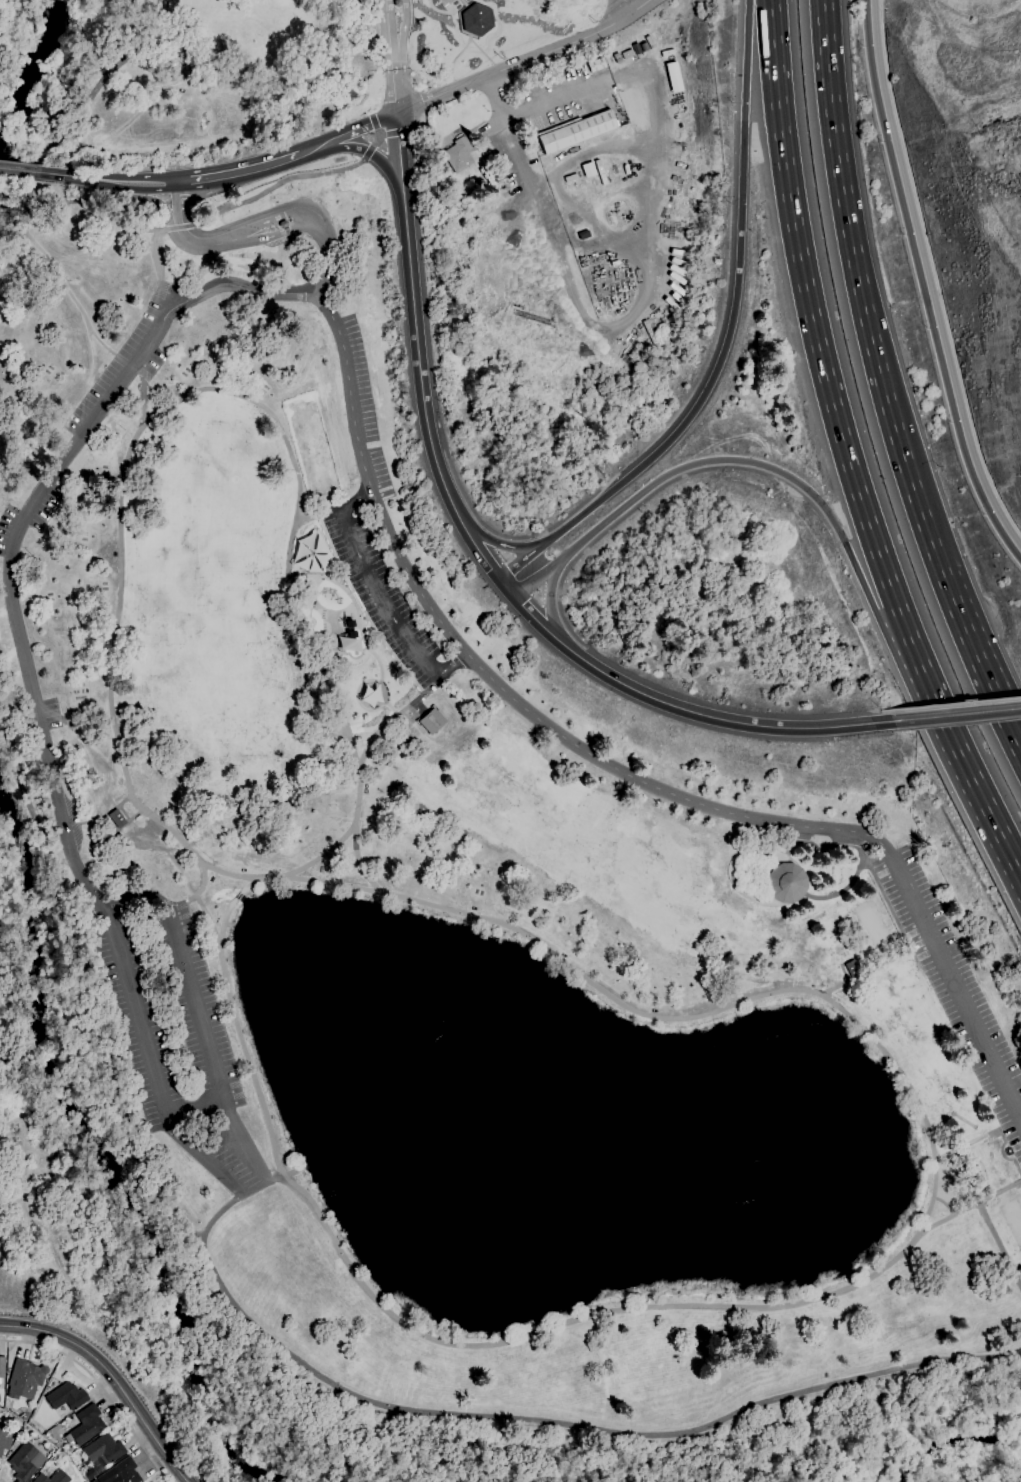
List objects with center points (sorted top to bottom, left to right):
building: (397, 3)
road: (622, 9)
building: (477, 20)
road: (402, 54)
building: (627, 54)
road: (391, 57)
road: (532, 57)
building: (596, 65)
river: (35, 73)
building: (672, 76)
road: (102, 79)
road: (557, 95)
road: (402, 111)
road: (365, 125)
building: (575, 131)
road: (378, 140)
road: (318, 145)
building: (536, 148)
building: (458, 154)
road: (375, 157)
road: (19, 170)
road: (238, 171)
road: (107, 181)
road: (29, 193)
road: (156, 202)
road: (8, 213)
road: (20, 214)
building: (283, 224)
road: (197, 225)
road: (16, 247)
road: (156, 256)
road: (935, 271)
road: (926, 281)
road: (861, 292)
road: (163, 297)
road: (73, 300)
road: (734, 308)
road: (814, 325)
road: (609, 327)
building: (649, 332)
road: (418, 355)
parking lot: (126, 363)
road: (235, 393)
parking lot: (368, 410)
road: (734, 465)
road: (314, 517)
road: (19, 521)
road: (503, 545)
road: (522, 561)
road: (507, 589)
road: (381, 596)
parking lot: (382, 597)
road: (551, 603)
road: (538, 623)
road: (972, 649)
road: (507, 691)
building: (369, 693)
road: (953, 704)
road: (882, 711)
road: (955, 714)
road: (875, 717)
road: (718, 718)
road: (391, 719)
building: (430, 721)
road: (1013, 726)
road: (1013, 738)
road: (963, 757)
park: (442, 806)
road: (99, 819)
building: (117, 819)
road: (357, 867)
road: (204, 881)
building: (786, 883)
road: (239, 896)
road: (182, 905)
road: (879, 967)
building: (852, 969)
parking lot: (961, 993)
parking lot: (182, 1051)
road: (197, 1106)
river: (102, 1154)
road: (251, 1176)
road: (234, 1203)
road: (978, 1204)
road: (1000, 1241)
road: (881, 1284)
building: (2, 1366)
road: (312, 1369)
road: (112, 1377)
building: (25, 1379)
road: (100, 1387)
building: (67, 1397)
building: (18, 1426)
building: (85, 1426)
building: (5, 1440)
building: (69, 1450)
building: (103, 1450)
building: (25, 1462)
river: (965, 1463)
building: (121, 1473)
building: (53, 1477)

